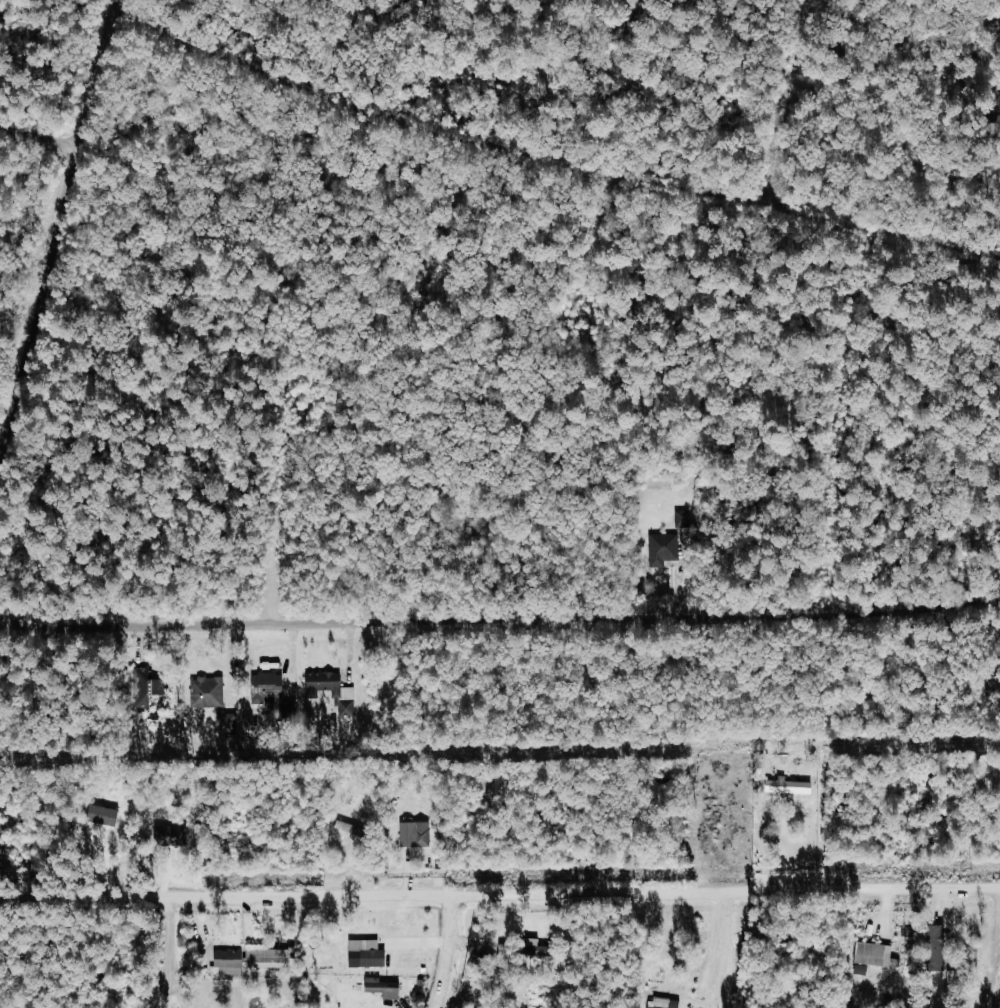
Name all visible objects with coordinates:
road: (786, 103)
road: (41, 136)
road: (550, 157)
road: (597, 217)
road: (60, 236)
road: (837, 422)
road: (277, 509)
building: (667, 546)
road: (498, 620)
building: (269, 683)
building: (325, 683)
building: (148, 685)
building: (208, 691)
building: (231, 725)
building: (791, 786)
building: (351, 828)
building: (173, 832)
building: (415, 833)
building: (161, 834)
road: (500, 895)
road: (170, 940)
building: (939, 941)
building: (365, 944)
building: (541, 948)
road: (723, 950)
road: (449, 953)
building: (507, 954)
building: (369, 956)
building: (876, 956)
building: (228, 957)
building: (269, 962)
road: (992, 974)
building: (384, 986)
building: (656, 1007)

